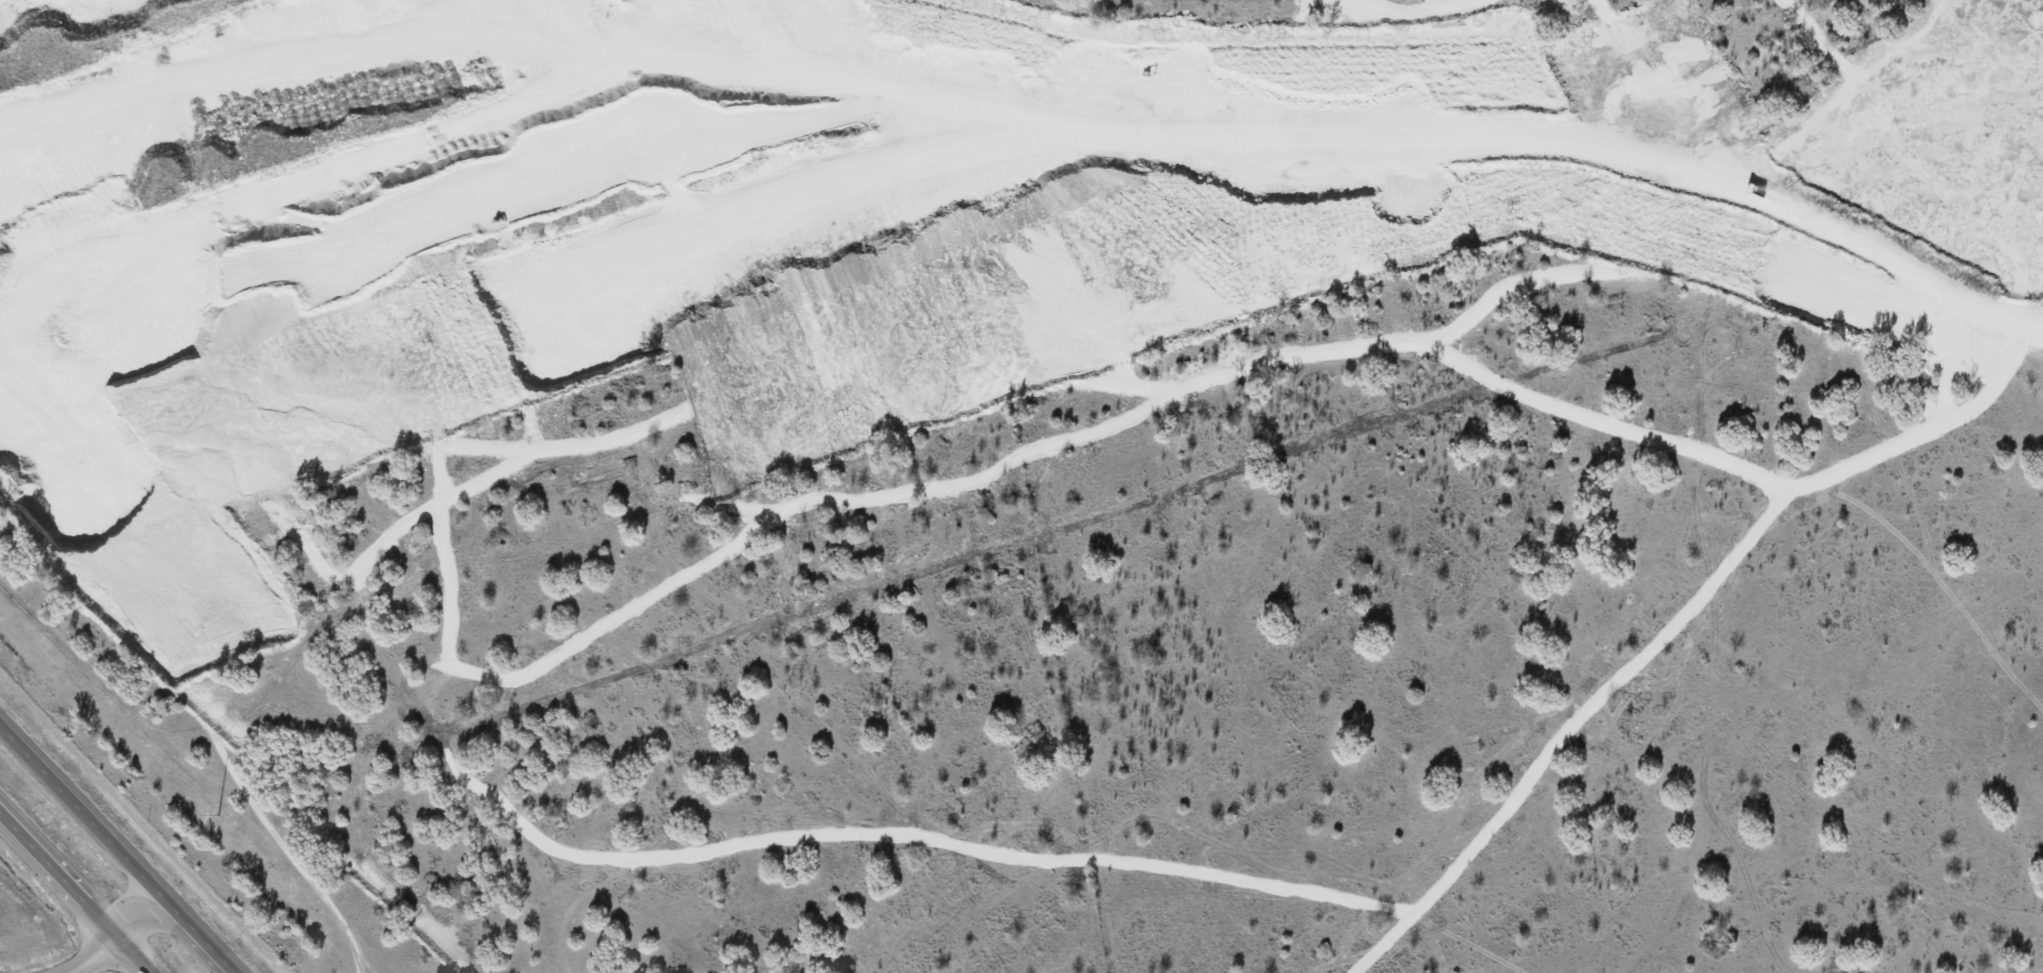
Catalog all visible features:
road: (1622, 155)
road: (1048, 383)
power tower: (218, 814)
road: (118, 843)
road: (73, 895)
road: (105, 938)

